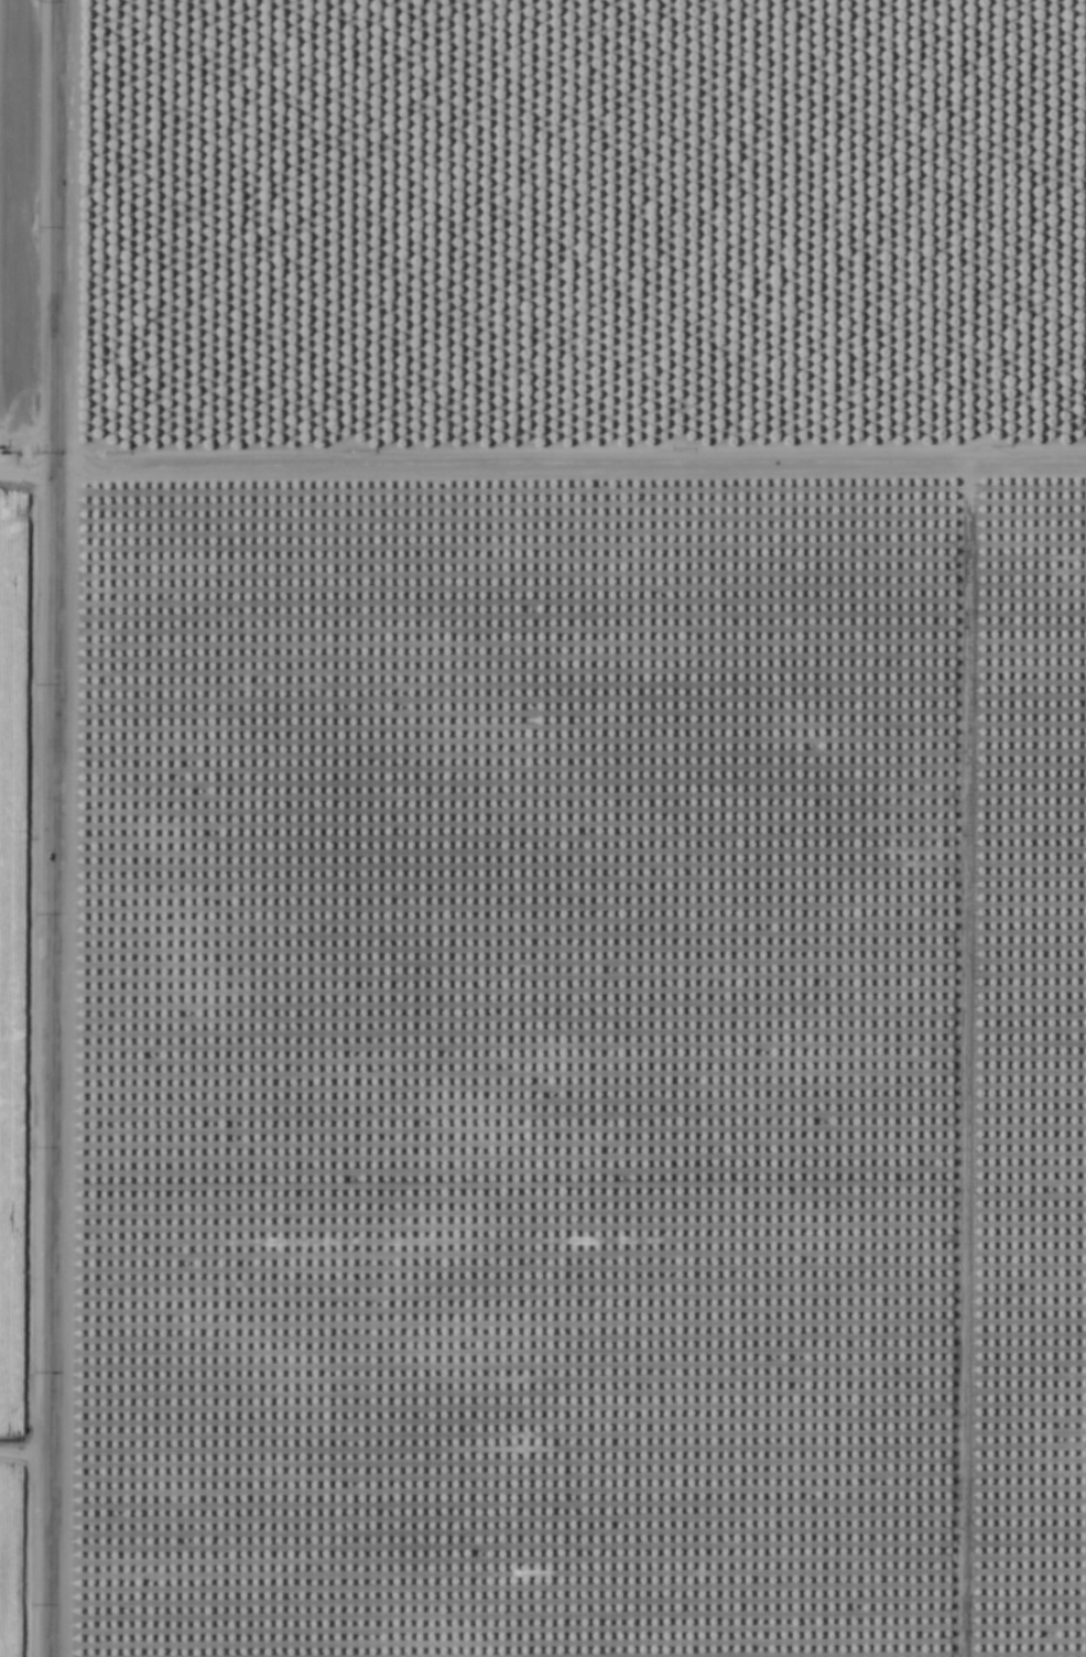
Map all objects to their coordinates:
road: (565, 499)
road: (21, 565)
road: (43, 827)

